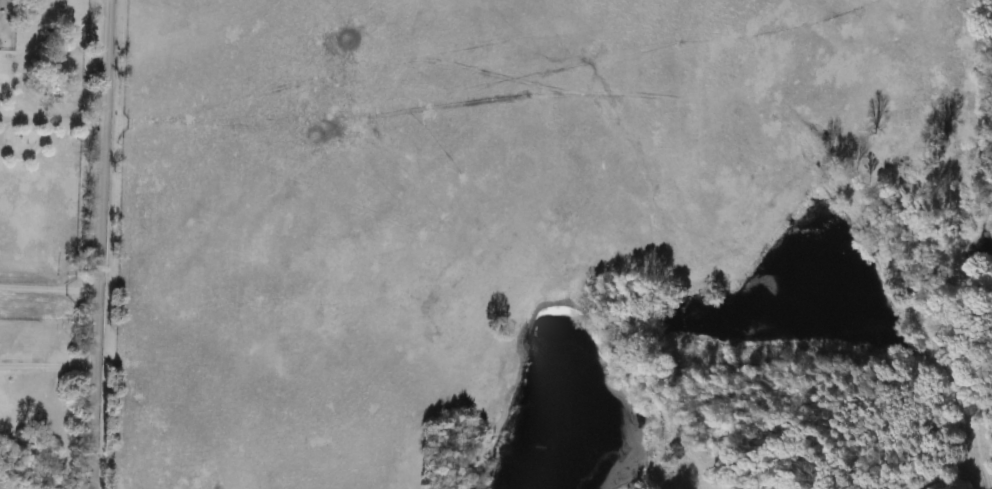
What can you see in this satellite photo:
road: (52, 121)
road: (101, 244)
road: (50, 286)
road: (50, 365)

